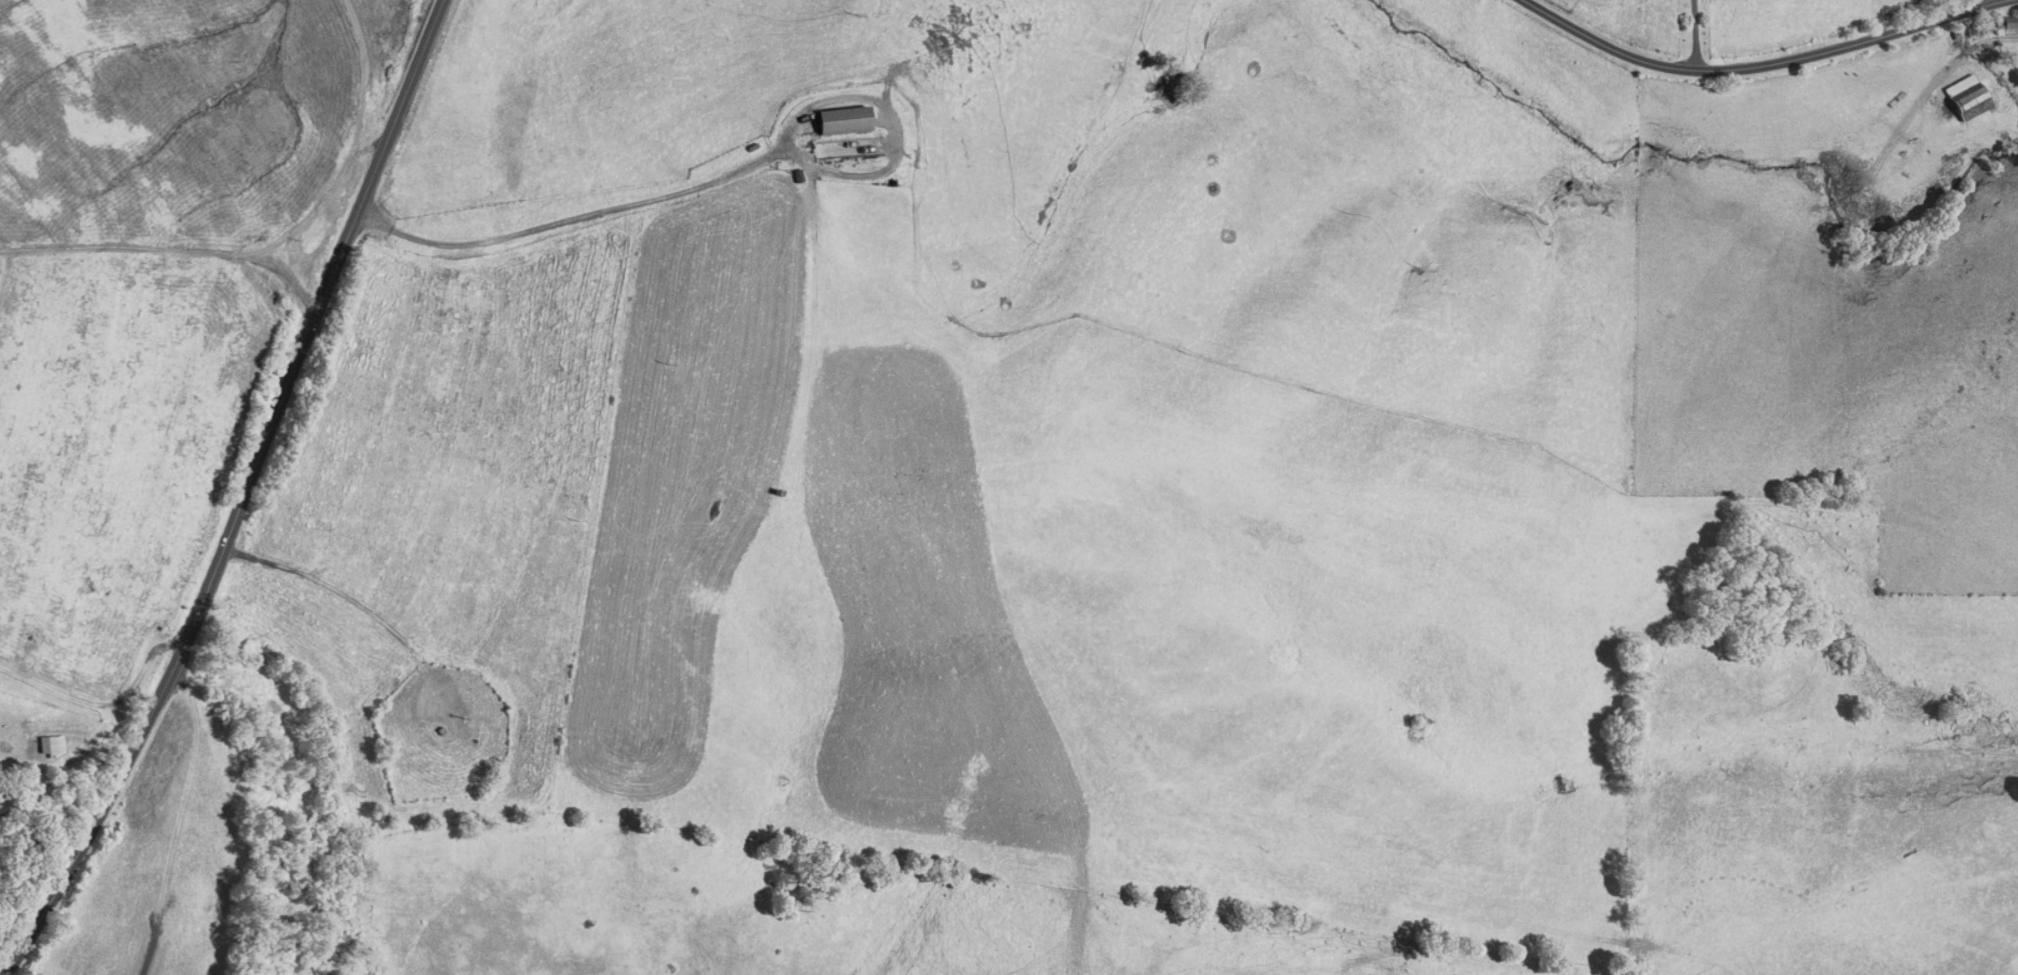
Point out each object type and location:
road: (1983, 2)
building: (2002, 26)
road: (1766, 64)
building: (1964, 102)
building: (843, 119)
road: (572, 218)
building: (822, 277)
road: (243, 498)
road: (97, 729)
building: (50, 741)
road: (149, 951)

